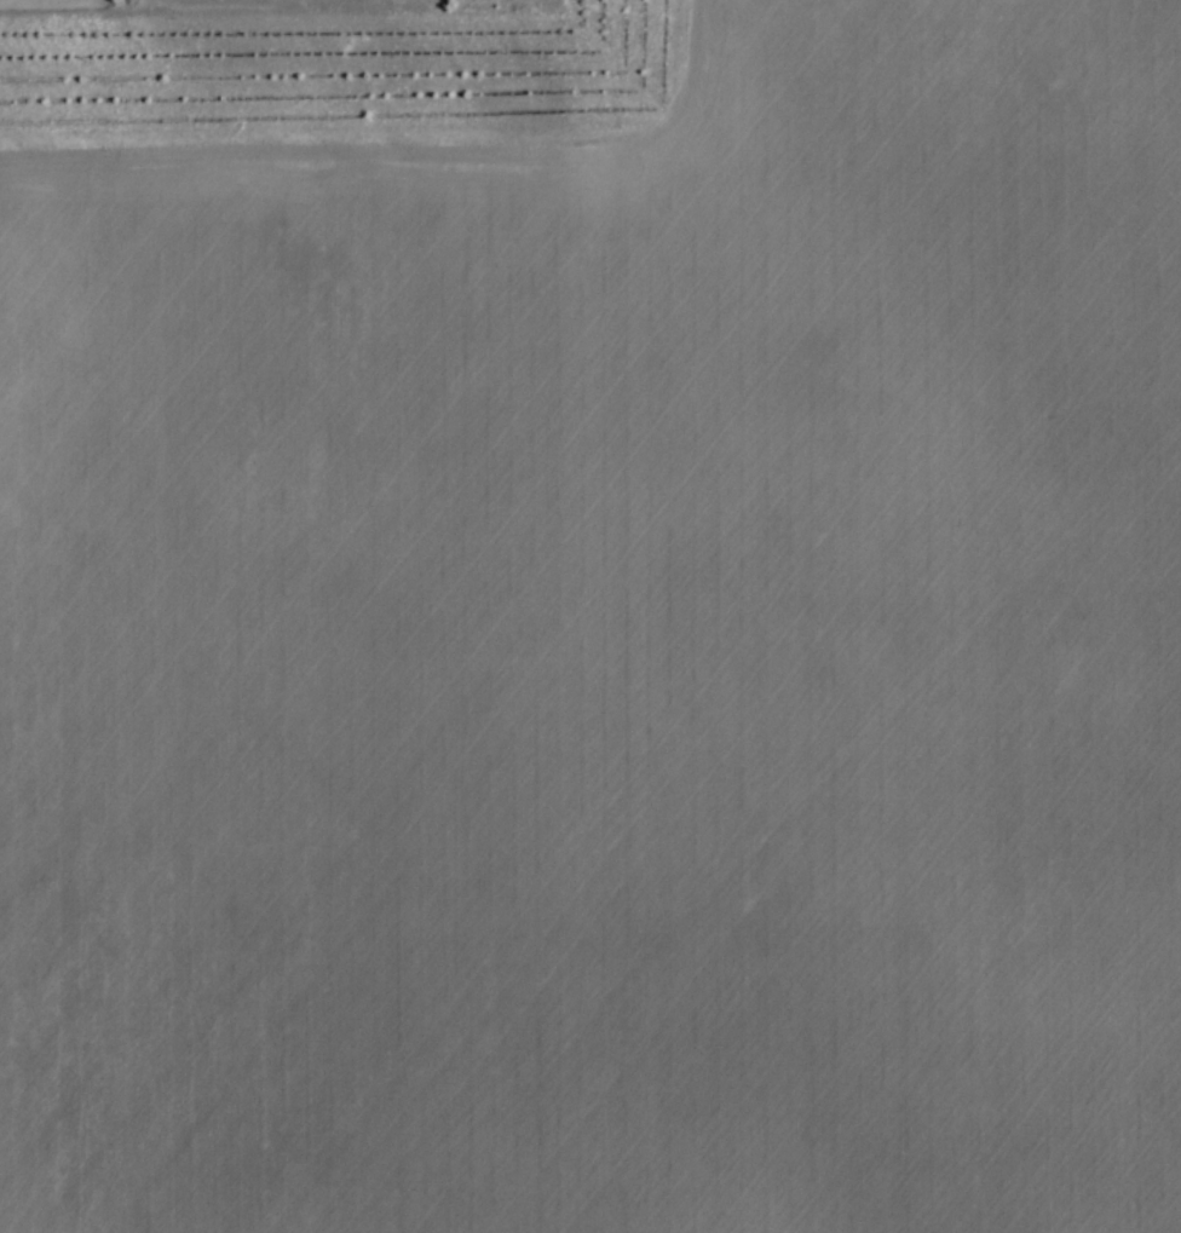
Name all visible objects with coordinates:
crop: (605, 650)

